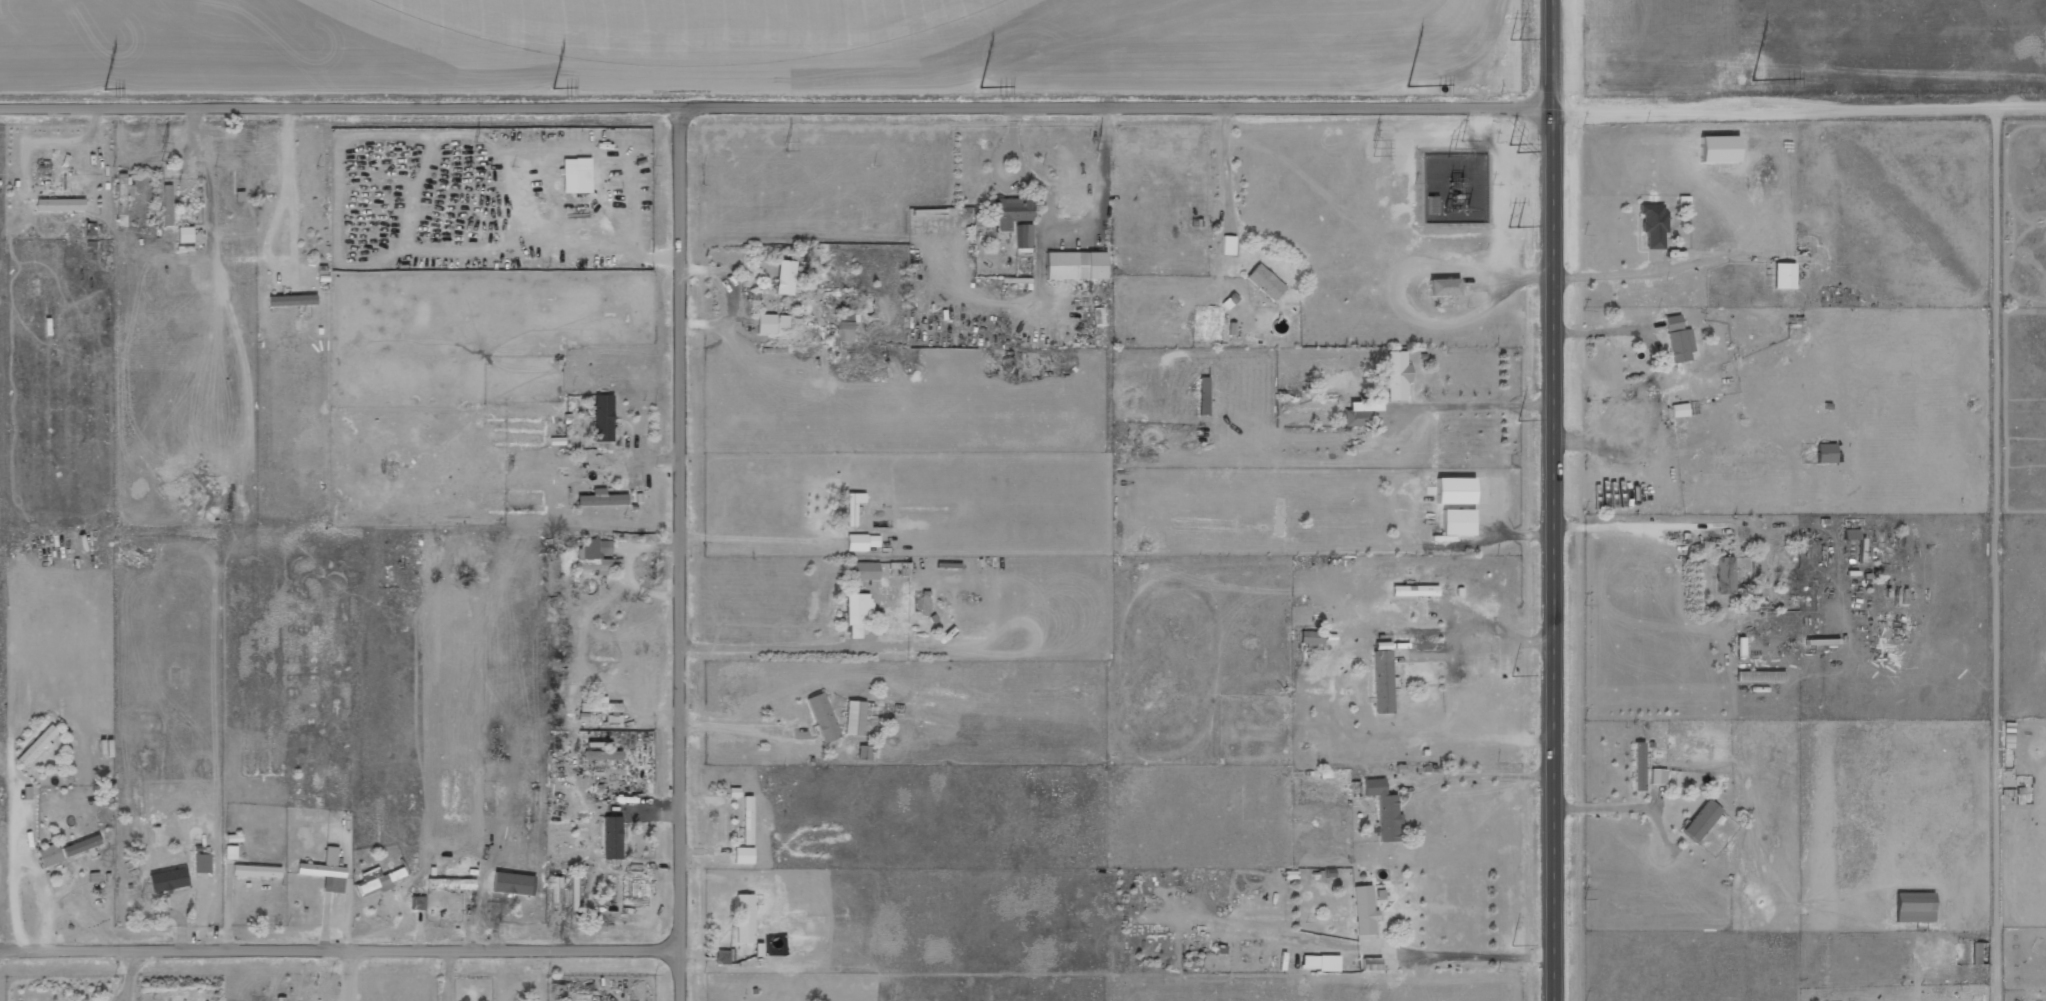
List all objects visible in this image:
crop: (694, 26)
power tower: (1740, 82)
power tower: (108, 88)
power tower: (1001, 88)
power tower: (1421, 88)
power tower: (553, 89)
road: (1023, 104)
power tower: (471, 145)
power tower: (1096, 146)
power tower: (784, 147)
power tower: (1513, 148)
building: (1721, 148)
power tower: (1372, 149)
power tower: (1453, 149)
power tower: (162, 150)
building: (585, 175)
power tower: (1512, 181)
building: (126, 185)
power substation: (1454, 188)
building: (62, 204)
building: (169, 206)
building: (1013, 211)
building: (1655, 224)
building: (187, 234)
building: (1025, 236)
building: (1078, 265)
building: (1786, 276)
building: (790, 278)
building: (1267, 282)
building: (1447, 287)
building: (294, 300)
building: (1675, 322)
building: (773, 323)
building: (847, 327)
building: (1683, 345)
building: (1399, 375)
building: (1206, 395)
building: (1681, 410)
building: (605, 418)
building: (1358, 418)
building: (1828, 453)
power tower: (1515, 470)
building: (1457, 491)
building: (603, 498)
road: (1553, 500)
building: (855, 507)
building: (1461, 522)
building: (863, 542)
building: (555, 545)
road: (682, 553)
building: (596, 556)
building: (901, 569)
building: (867, 571)
building: (1733, 573)
building: (1417, 591)
building: (859, 614)
building: (1314, 638)
building: (1384, 681)
building: (606, 709)
building: (825, 717)
building: (856, 718)
building: (39, 745)
building: (107, 748)
building: (603, 751)
building: (866, 752)
building: (1640, 766)
building: (1660, 776)
power tower: (1516, 805)
building: (1386, 809)
building: (750, 816)
building: (1704, 820)
building: (614, 837)
building: (84, 845)
building: (52, 854)
building: (746, 855)
building: (204, 863)
building: (258, 871)
building: (329, 871)
building: (170, 880)
building: (378, 881)
building: (556, 887)
building: (496, 906)
building: (1918, 907)
building: (1366, 910)
building: (747, 918)
road: (340, 949)
building: (724, 956)
building: (1322, 962)
building: (1373, 964)

